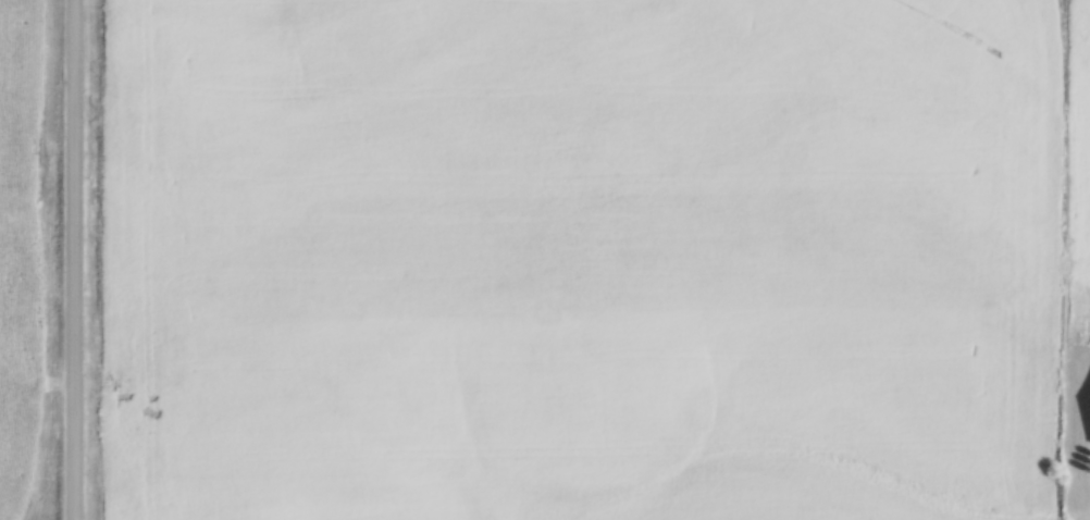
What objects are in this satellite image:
road: (73, 260)

